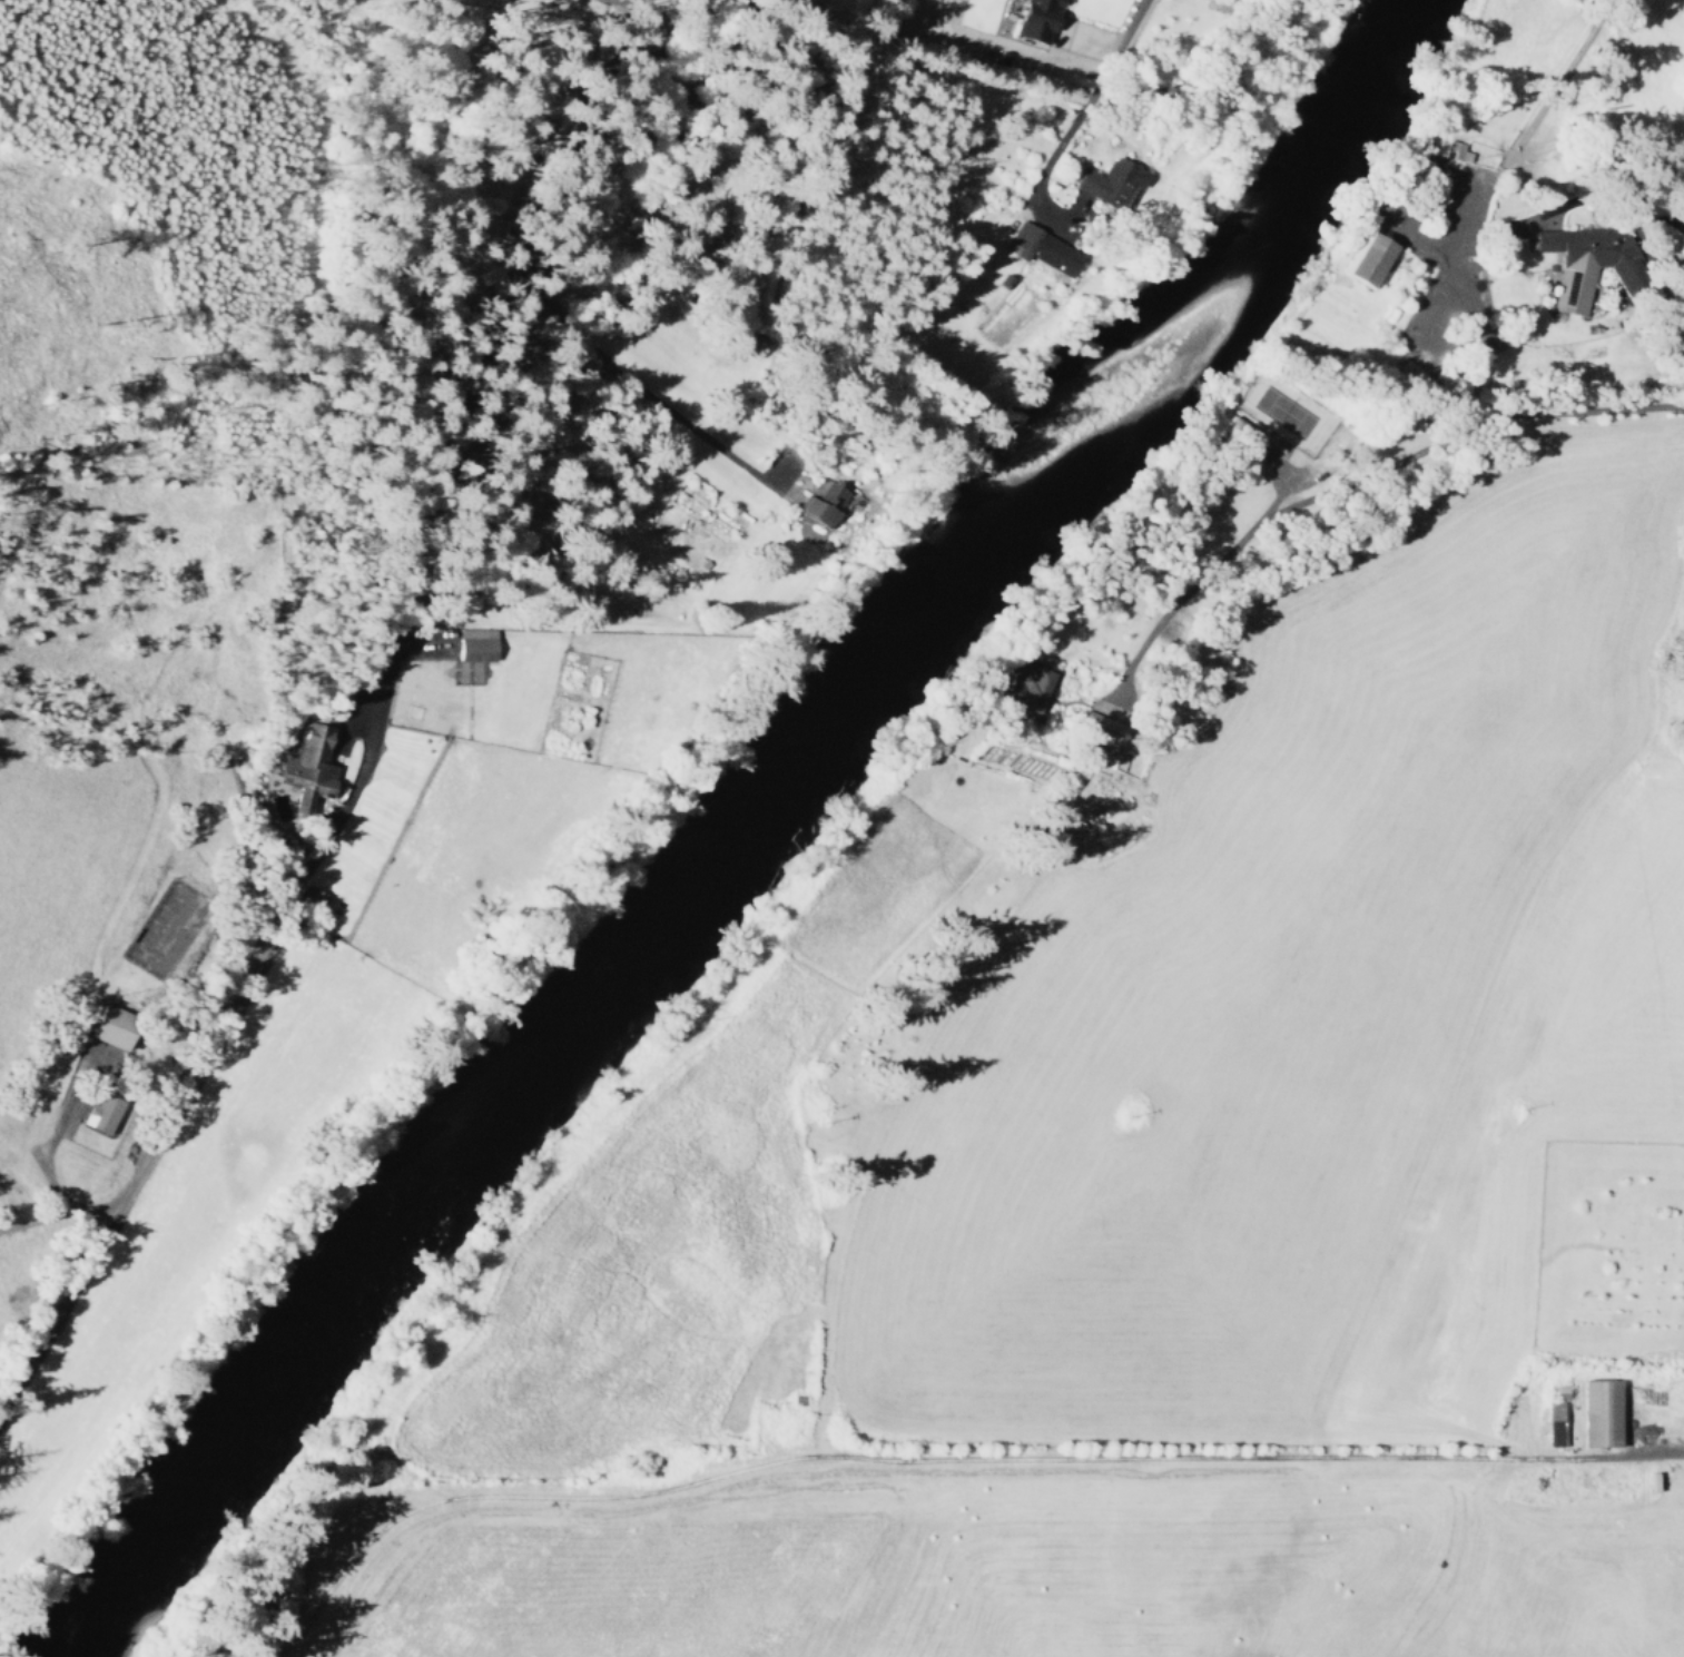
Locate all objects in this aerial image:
building: (1036, 20)
road: (1113, 50)
building: (1451, 151)
road: (1042, 170)
building: (1112, 180)
road: (1467, 218)
building: (1043, 248)
building: (1369, 257)
building: (1580, 260)
road: (496, 359)
road: (1346, 480)
building: (820, 502)
building: (477, 645)
building: (1031, 687)
building: (306, 767)
river: (757, 818)
building: (112, 1026)
building: (100, 1112)
building: (1602, 1413)
building: (1554, 1423)
road: (942, 1458)

